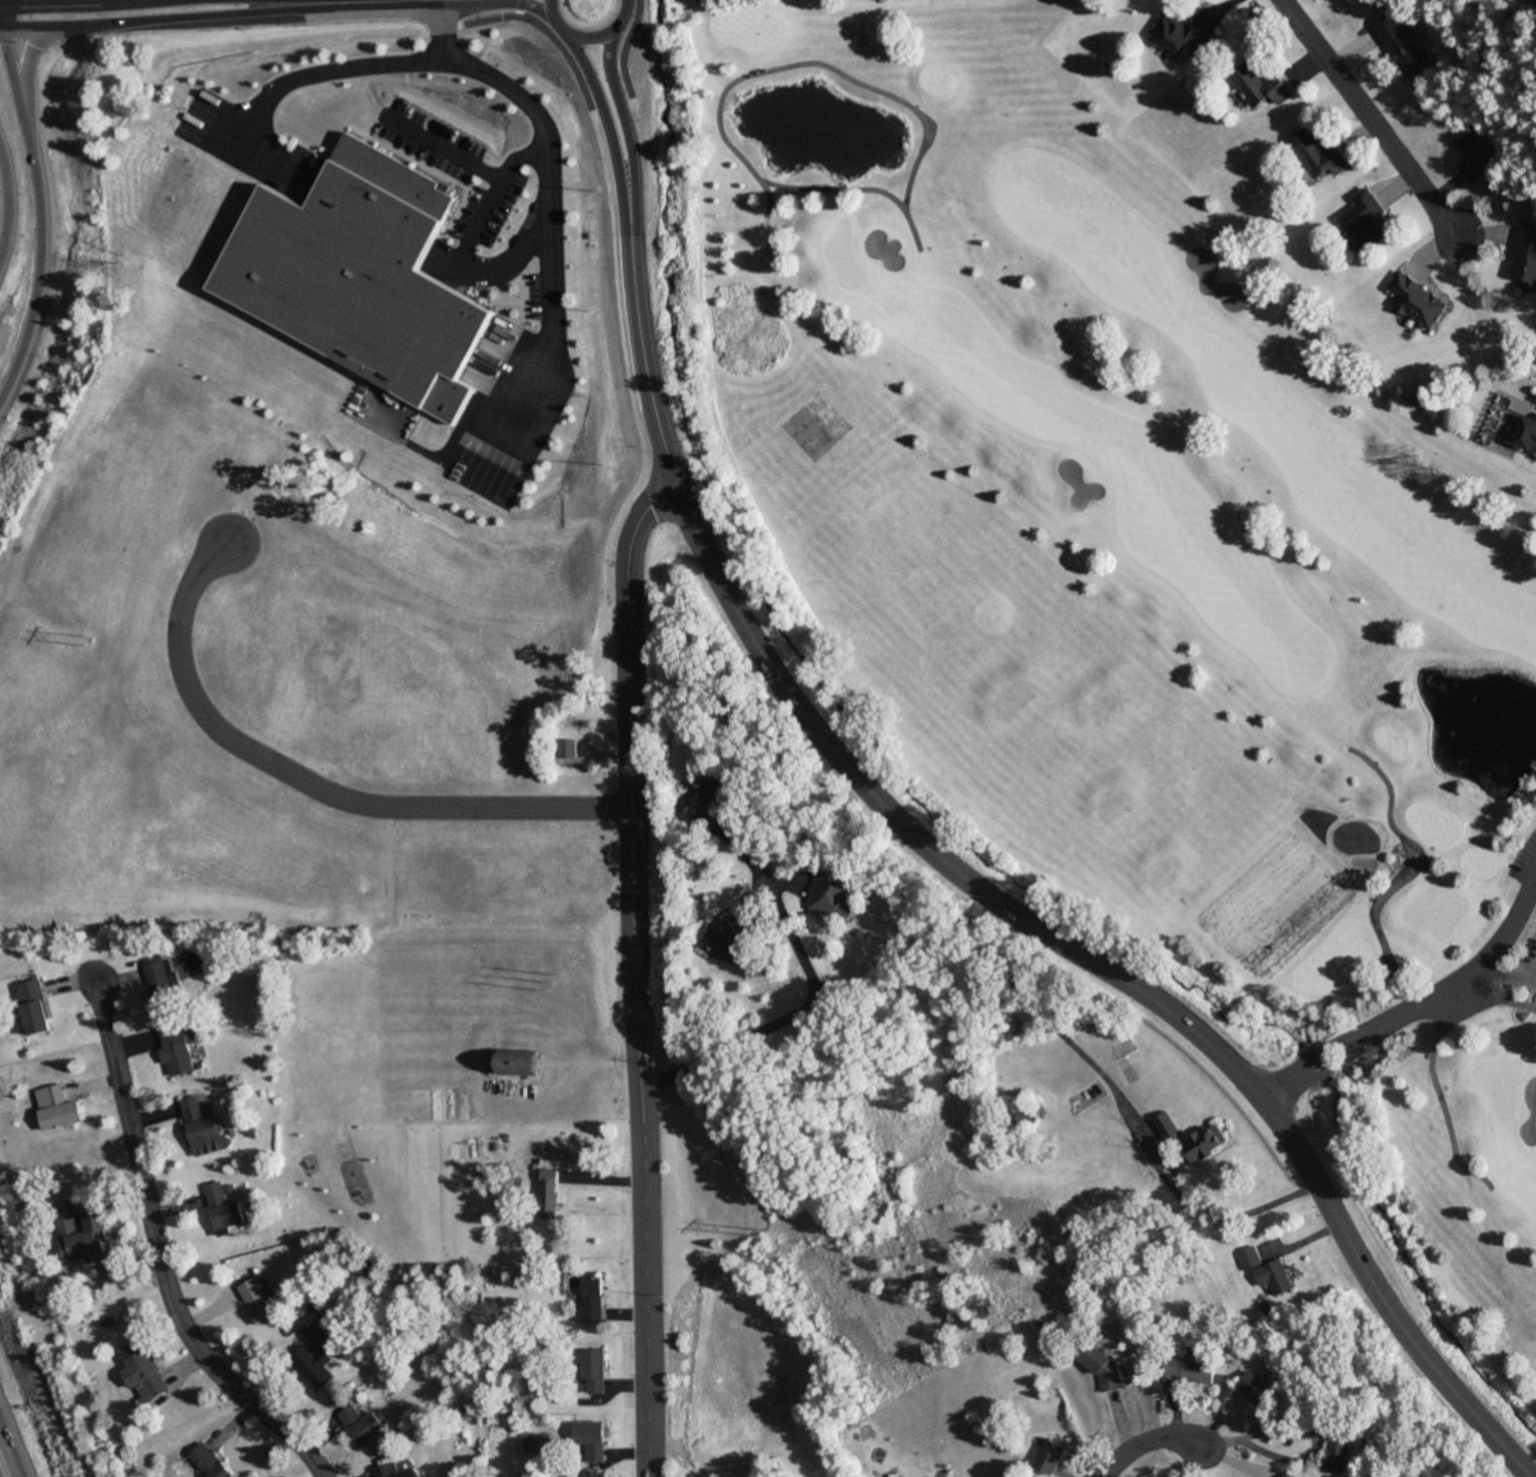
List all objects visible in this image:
road: (500, 0)
road: (64, 2)
road: (219, 10)
road: (436, 28)
building: (1173, 31)
road: (587, 39)
building: (1396, 43)
road: (820, 61)
building: (1255, 78)
road: (24, 80)
road: (505, 84)
road: (624, 91)
road: (597, 99)
road: (1365, 116)
building: (1310, 150)
building: (1466, 155)
road: (827, 182)
road: (8, 203)
road: (41, 214)
building: (1356, 217)
building: (1522, 256)
road: (498, 261)
building: (353, 270)
building: (1409, 297)
road: (637, 335)
building: (1524, 429)
park: (1126, 574)
power tower: (81, 639)
building: (568, 749)
road: (308, 783)
building: (715, 802)
road: (910, 830)
parking lot: (1524, 860)
building: (835, 896)
building: (733, 939)
parking lot: (1530, 950)
road: (1388, 959)
road: (630, 971)
road: (1108, 971)
road: (1508, 975)
road: (1534, 977)
building: (163, 981)
power tower: (556, 983)
road: (1497, 992)
road: (1417, 998)
road: (797, 1006)
building: (35, 1008)
road: (1423, 1009)
building: (178, 1047)
building: (523, 1063)
park: (1494, 1078)
park: (331, 1084)
building: (57, 1109)
building: (191, 1109)
building: (1167, 1127)
building: (207, 1136)
building: (1208, 1145)
building: (550, 1194)
building: (224, 1211)
building: (81, 1230)
power tower: (768, 1234)
road: (159, 1254)
building: (1266, 1272)
building: (590, 1301)
building: (256, 1302)
park: (741, 1349)
building: (314, 1359)
building: (1189, 1371)
building: (591, 1372)
building: (142, 1375)
building: (1258, 1389)
building: (362, 1425)
road: (1141, 1441)
building: (588, 1443)
building: (1338, 1455)
building: (1052, 1457)
park: (822, 1458)
road: (6, 1460)
building: (209, 1462)
building: (394, 1471)
building: (1288, 1475)

